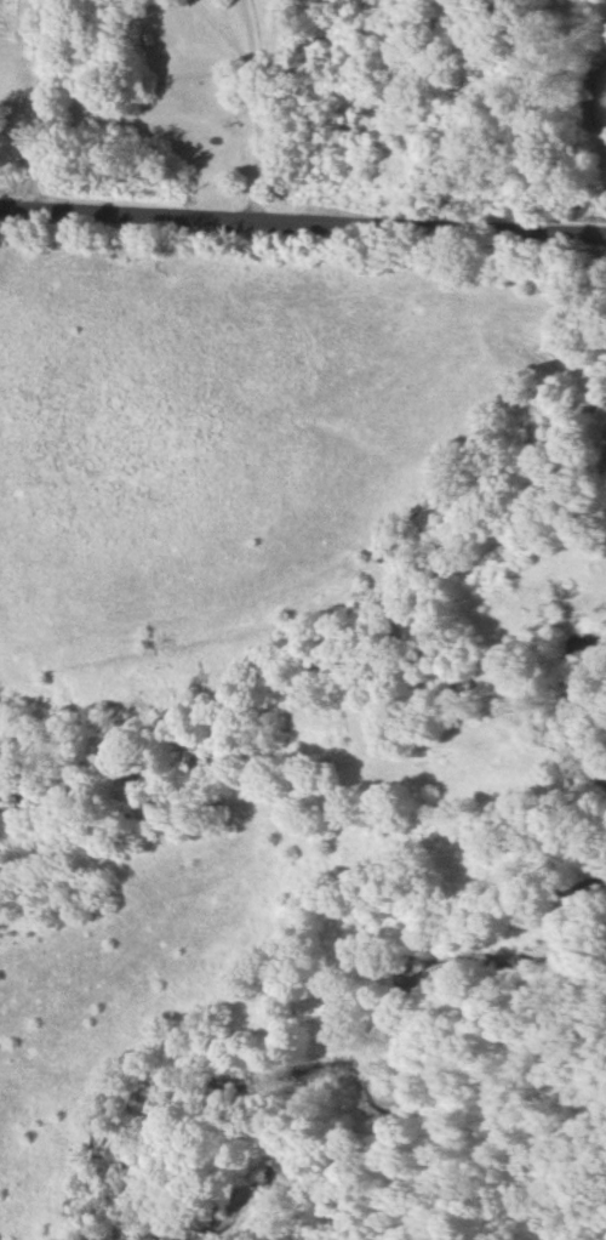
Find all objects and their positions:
crop: (175, 102)
road: (35, 103)
road: (255, 108)
road: (302, 218)

